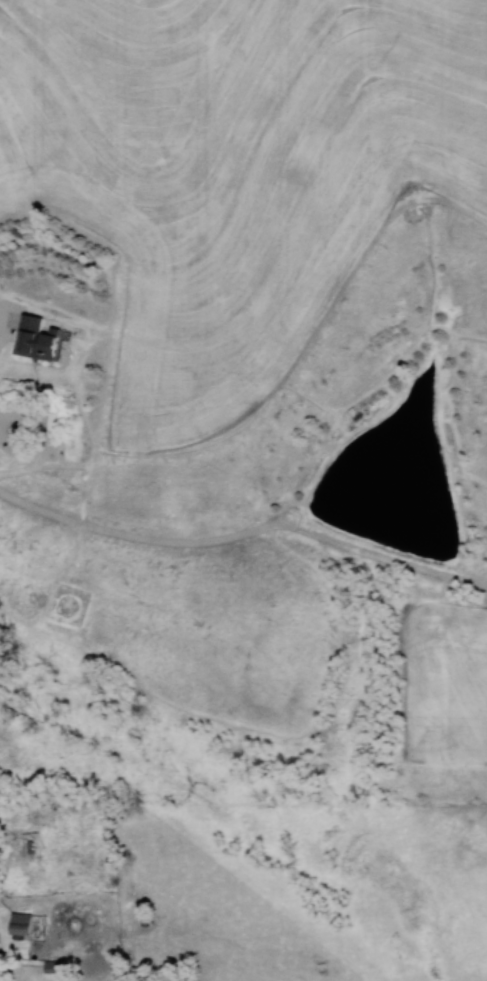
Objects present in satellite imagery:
building: (32, 340)
building: (18, 433)
building: (17, 925)
building: (51, 967)

